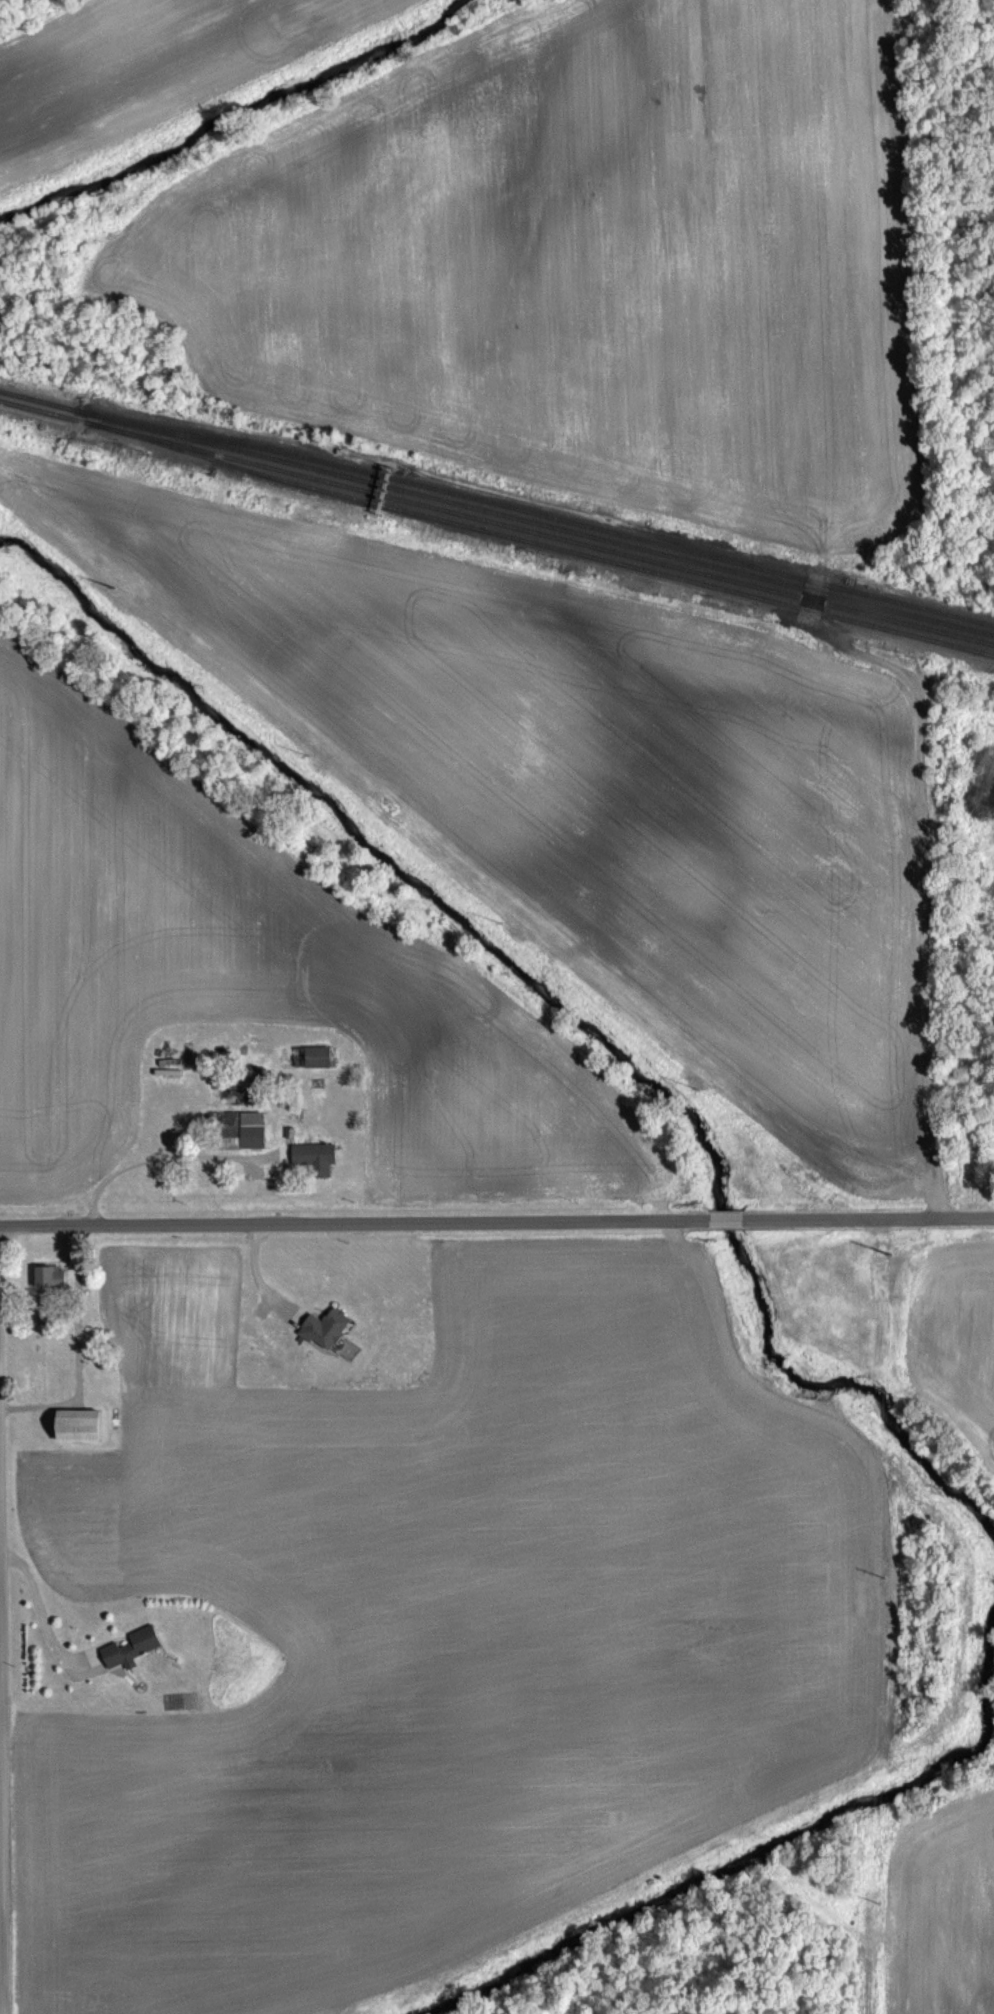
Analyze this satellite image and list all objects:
railway: (40, 401)
railway: (45, 412)
railway: (538, 512)
railway: (537, 523)
railway: (542, 534)
railway: (541, 544)
building: (306, 1057)
building: (237, 1093)
building: (237, 1128)
road: (156, 1156)
building: (313, 1159)
road: (496, 1222)
building: (48, 1277)
road: (78, 1355)
building: (108, 1384)
building: (75, 1426)
road: (39, 1607)
building: (128, 1647)
road: (0, 1949)

